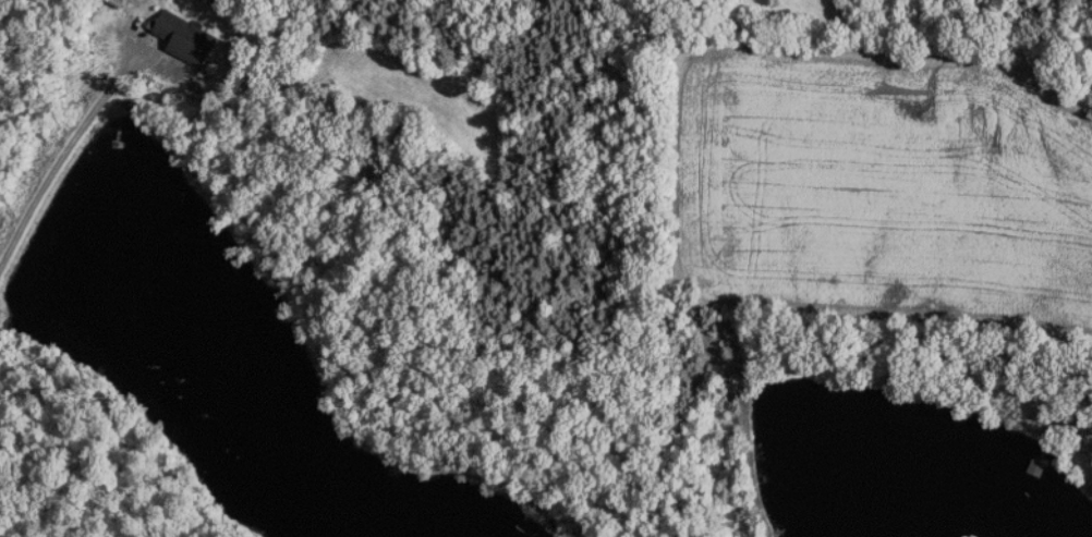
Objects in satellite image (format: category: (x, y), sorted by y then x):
building: (187, 35)
road: (64, 160)

